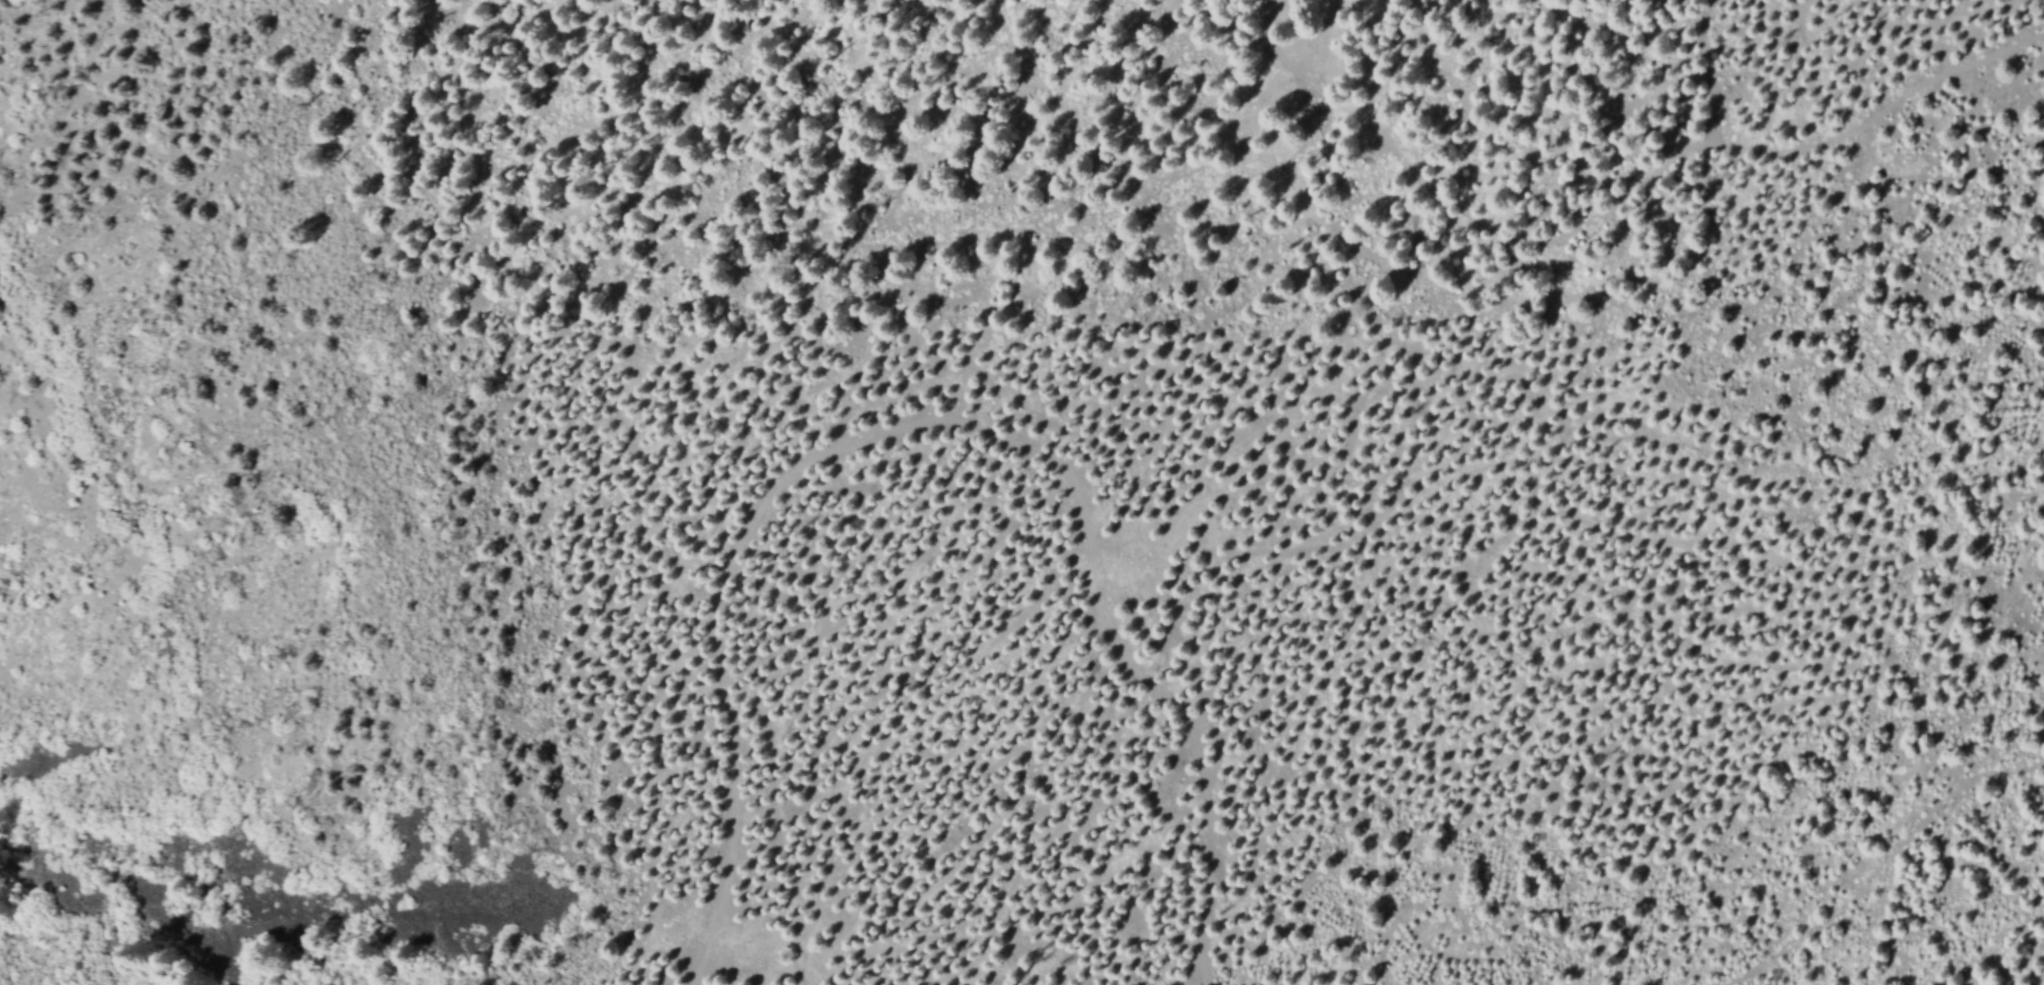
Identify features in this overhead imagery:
road: (1685, 148)

